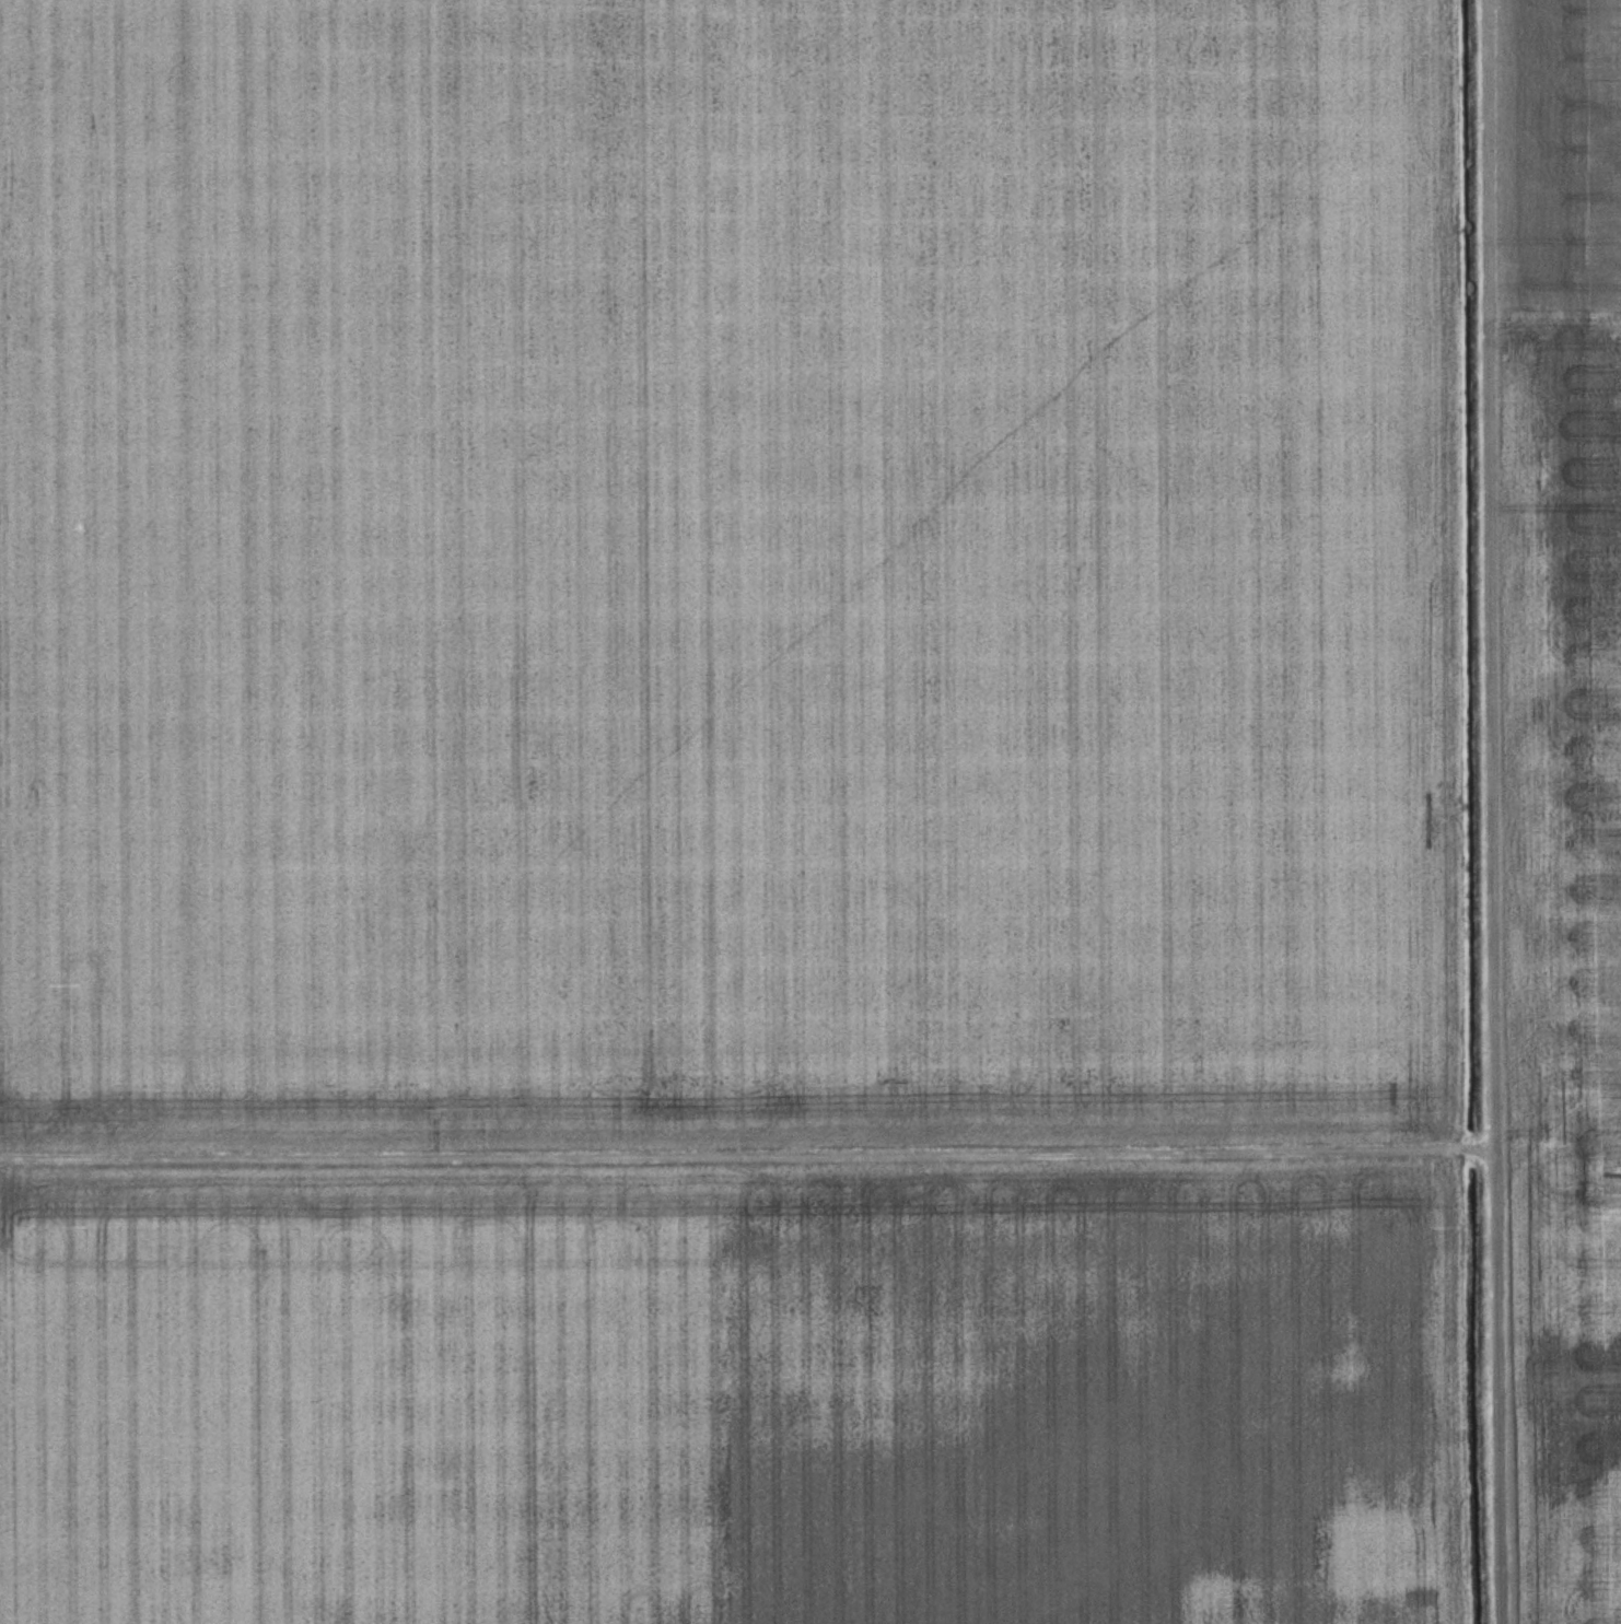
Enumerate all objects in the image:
crop: (1561, 794)
road: (1491, 811)
crop: (732, 813)

